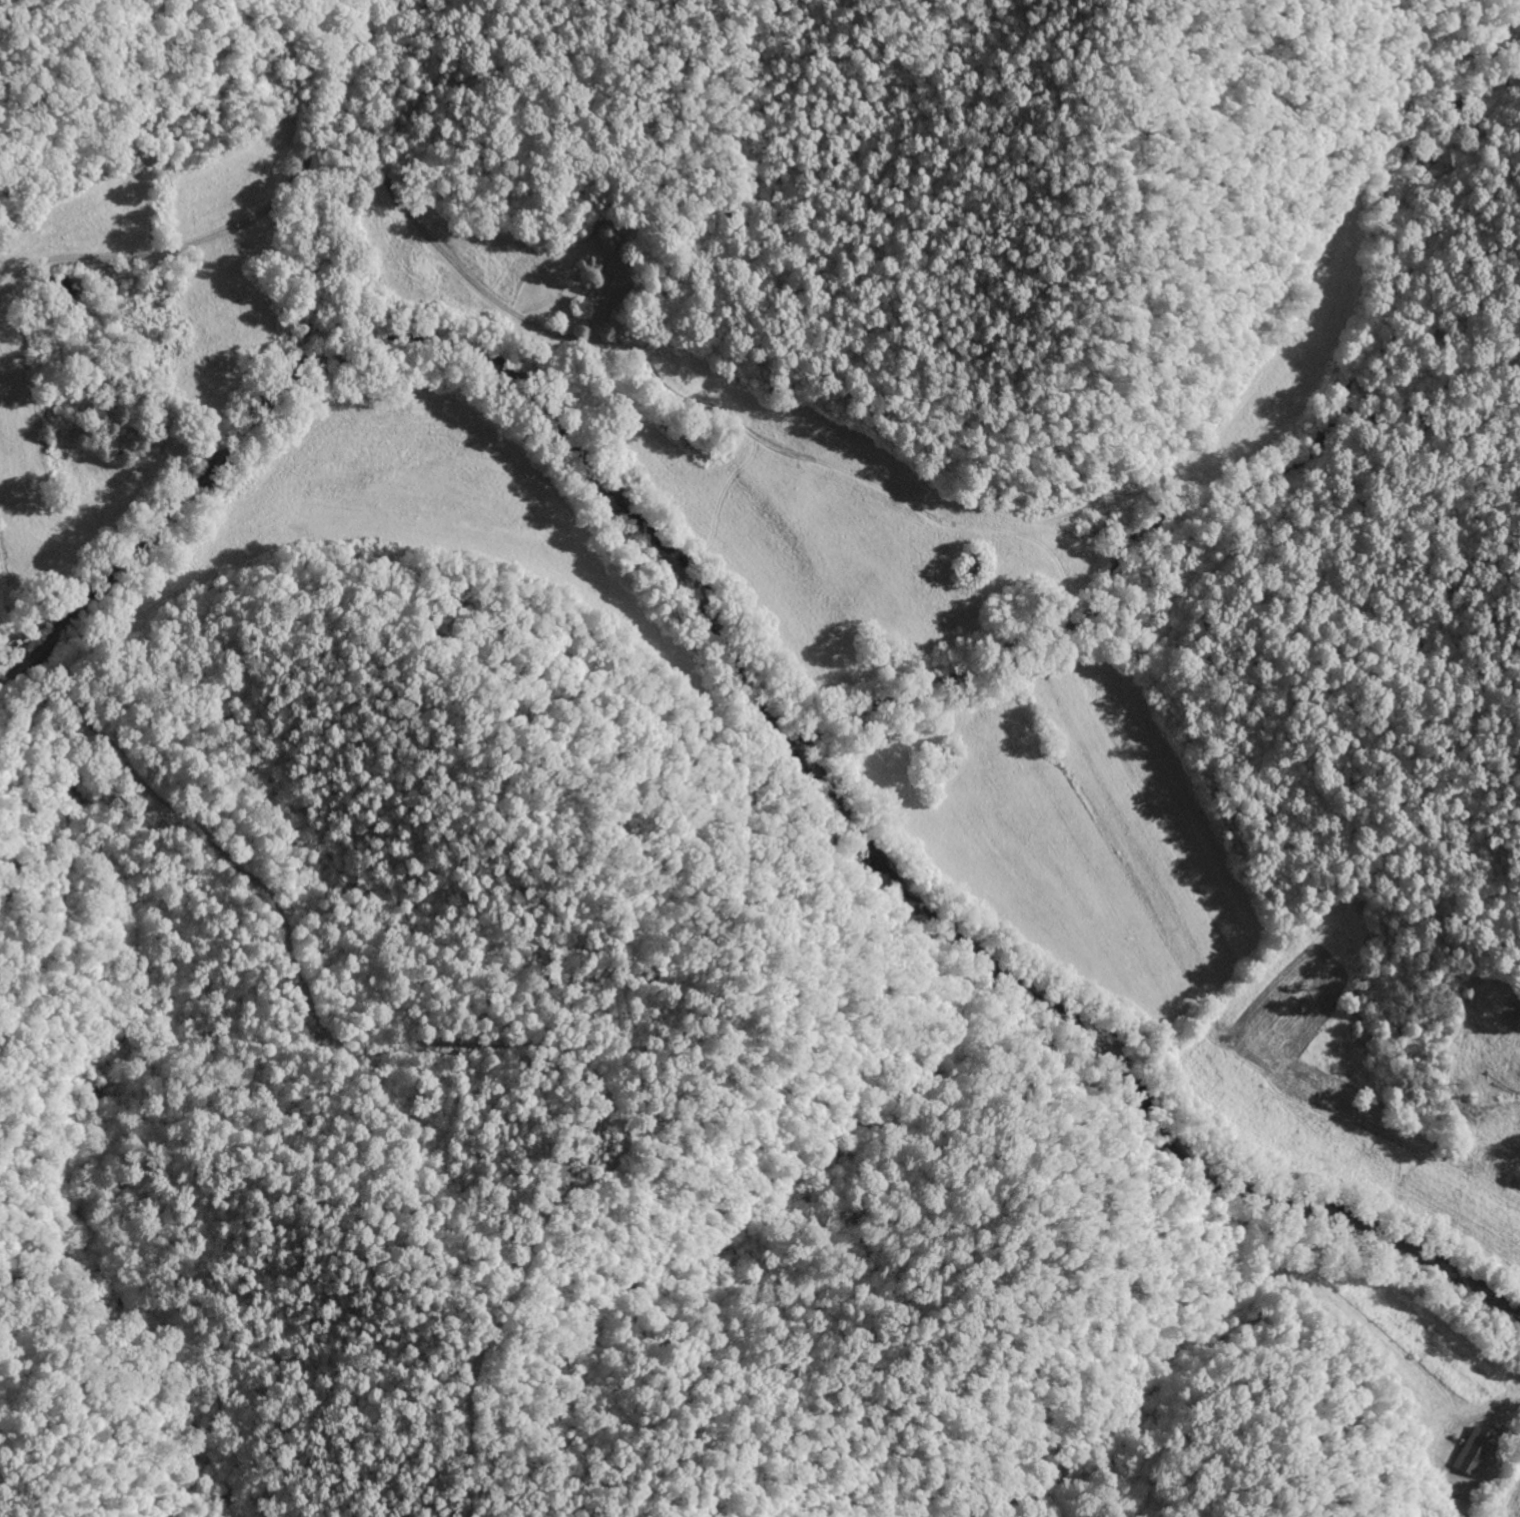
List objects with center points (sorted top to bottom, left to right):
park: (586, 282)
road: (517, 340)
road: (2, 596)
road: (1196, 1067)
building: (1471, 1451)

